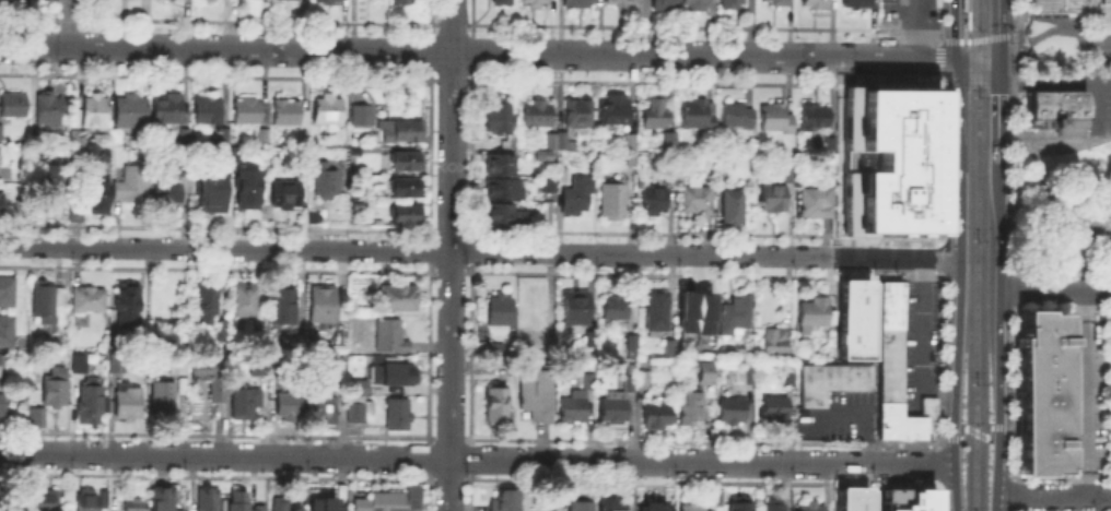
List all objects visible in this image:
building: (211, 0)
building: (326, 0)
building: (404, 1)
building: (503, 1)
building: (329, 2)
building: (535, 2)
building: (622, 2)
building: (728, 2)
building: (779, 2)
building: (812, 2)
building: (855, 2)
building: (1106, 2)
building: (578, 3)
building: (663, 4)
building: (694, 4)
building: (1065, 9)
road: (964, 19)
road: (952, 20)
railway: (963, 28)
road: (1056, 28)
road: (914, 29)
road: (1003, 29)
road: (978, 38)
road: (954, 49)
road: (477, 51)
traffic signals: (955, 60)
road: (978, 60)
traffic signals: (1002, 60)
road: (1055, 83)
building: (14, 106)
building: (329, 109)
building: (1057, 109)
road: (1099, 109)
building: (50, 110)
building: (168, 110)
road: (998, 110)
building: (618, 111)
building: (96, 112)
building: (289, 112)
building: (657, 112)
building: (131, 114)
building: (209, 114)
building: (250, 114)
building: (538, 115)
building: (581, 115)
building: (364, 116)
building: (738, 116)
building: (700, 117)
building: (500, 118)
building: (815, 118)
building: (777, 120)
building: (404, 133)
building: (1, 134)
building: (225, 136)
building: (186, 138)
building: (265, 138)
building: (304, 138)
building: (115, 139)
building: (668, 139)
road: (1066, 139)
building: (508, 143)
building: (633, 143)
building: (830, 143)
building: (554, 146)
building: (670, 146)
building: (93, 152)
building: (237, 155)
road: (961, 158)
building: (407, 162)
building: (889, 164)
building: (503, 165)
park: (1064, 166)
building: (793, 173)
road: (1054, 177)
building: (48, 179)
building: (326, 181)
building: (132, 186)
building: (405, 188)
building: (506, 189)
building: (95, 191)
building: (212, 191)
building: (250, 191)
building: (571, 193)
building: (168, 194)
building: (288, 195)
building: (699, 200)
building: (613, 201)
building: (774, 201)
building: (655, 203)
building: (818, 204)
building: (2, 205)
building: (735, 211)
building: (405, 213)
building: (507, 215)
building: (318, 218)
road: (999, 225)
road: (1051, 233)
road: (480, 251)
road: (449, 254)
railway: (971, 254)
railway: (983, 255)
building: (5, 289)
road: (1055, 289)
building: (398, 298)
building: (209, 300)
building: (90, 301)
building: (247, 302)
building: (48, 305)
building: (283, 305)
building: (129, 307)
building: (326, 307)
building: (576, 309)
building: (616, 309)
building: (692, 310)
building: (500, 311)
building: (658, 312)
building: (815, 313)
building: (737, 316)
building: (852, 318)
building: (5, 329)
building: (223, 330)
building: (534, 335)
building: (391, 337)
building: (590, 337)
road: (920, 340)
building: (776, 341)
building: (300, 343)
building: (630, 344)
building: (320, 347)
building: (671, 349)
building: (340, 352)
building: (118, 365)
building: (179, 368)
building: (337, 368)
building: (699, 369)
building: (262, 370)
building: (897, 370)
building: (1, 376)
building: (394, 376)
building: (745, 378)
building: (644, 379)
building: (792, 380)
building: (213, 381)
building: (590, 383)
road: (956, 383)
building: (631, 384)
building: (831, 387)
building: (56, 388)
building: (1044, 393)
building: (537, 395)
road: (999, 400)
building: (164, 402)
building: (129, 403)
building: (247, 403)
building: (93, 404)
building: (358, 404)
building: (498, 405)
building: (2, 406)
building: (688, 406)
building: (291, 407)
building: (326, 408)
building: (575, 408)
building: (615, 411)
building: (734, 411)
building: (774, 411)
building: (35, 415)
building: (399, 415)
building: (656, 417)
road: (976, 432)
building: (1110, 451)
road: (477, 457)
building: (339, 488)
road: (1053, 495)
building: (714, 496)
building: (851, 498)
building: (905, 499)
building: (164, 500)
building: (209, 500)
building: (93, 501)
building: (507, 501)
building: (47, 502)
building: (239, 502)
building: (384, 502)
building: (321, 503)
building: (289, 504)
building: (581, 504)
building: (611, 504)
building: (740, 504)
building: (22, 506)
building: (652, 506)
building: (774, 506)
building: (136, 507)
building: (255, 507)
building: (693, 507)
building: (811, 508)

